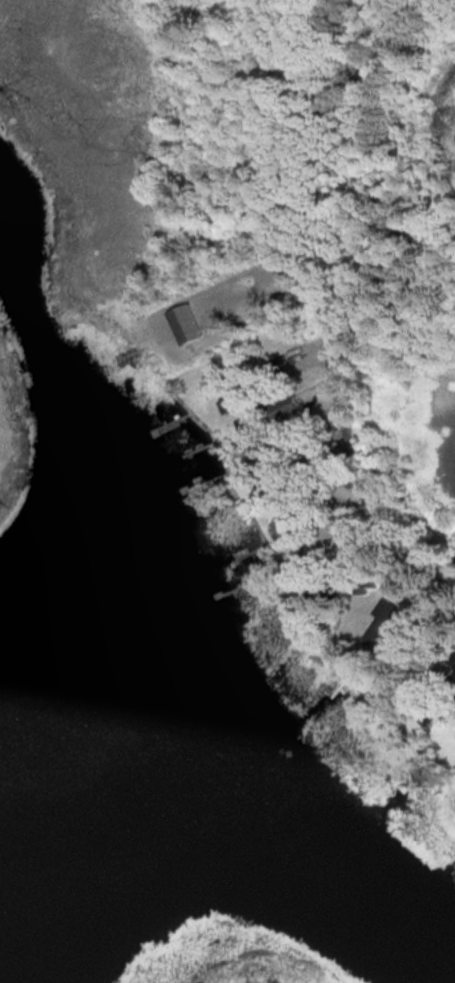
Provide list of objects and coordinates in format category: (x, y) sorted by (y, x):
road: (316, 166)
park: (139, 371)
building: (254, 391)
building: (276, 412)
road: (337, 436)
building: (279, 439)
building: (280, 462)
building: (289, 493)
building: (297, 523)
building: (322, 587)
building: (391, 628)
building: (452, 682)

